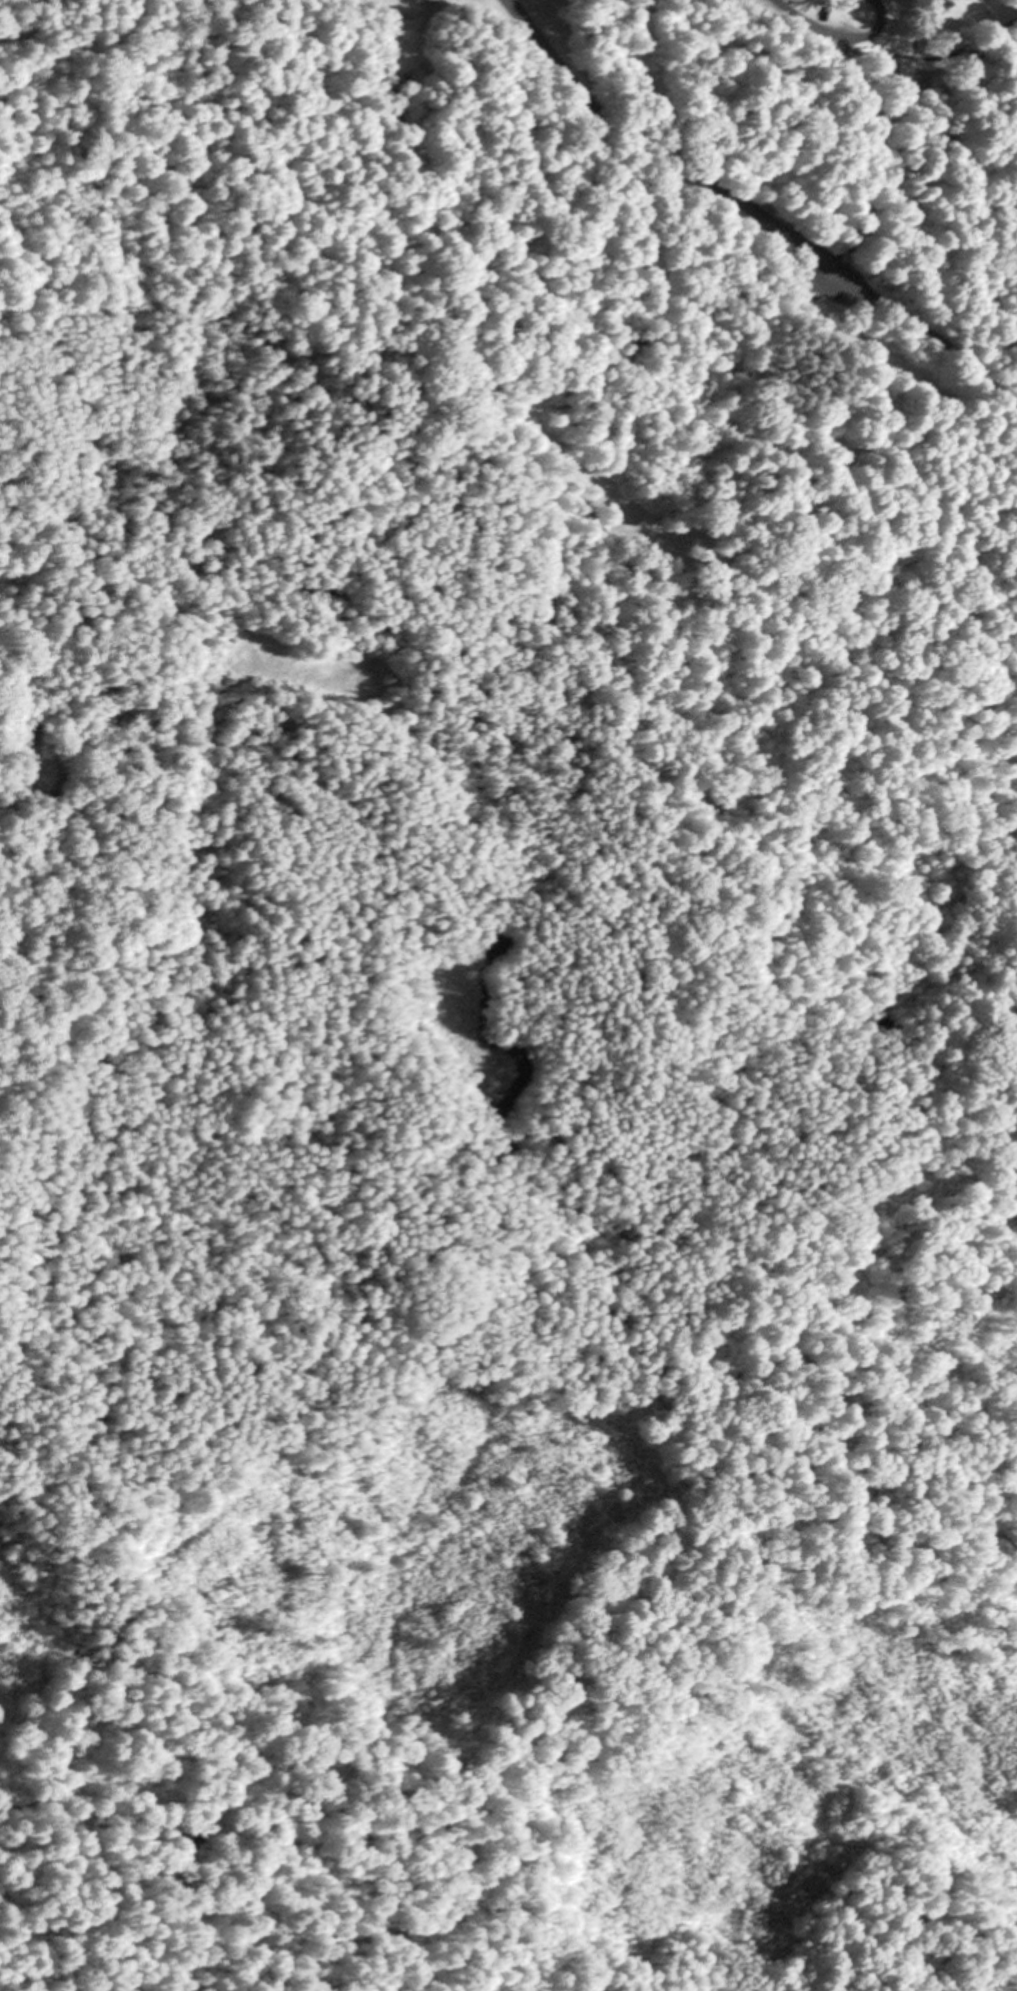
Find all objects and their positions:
road: (840, 33)
road: (158, 144)
road: (753, 215)
park: (510, 458)
road: (296, 1181)
road: (11, 1319)
road: (661, 1627)
road: (176, 1663)

